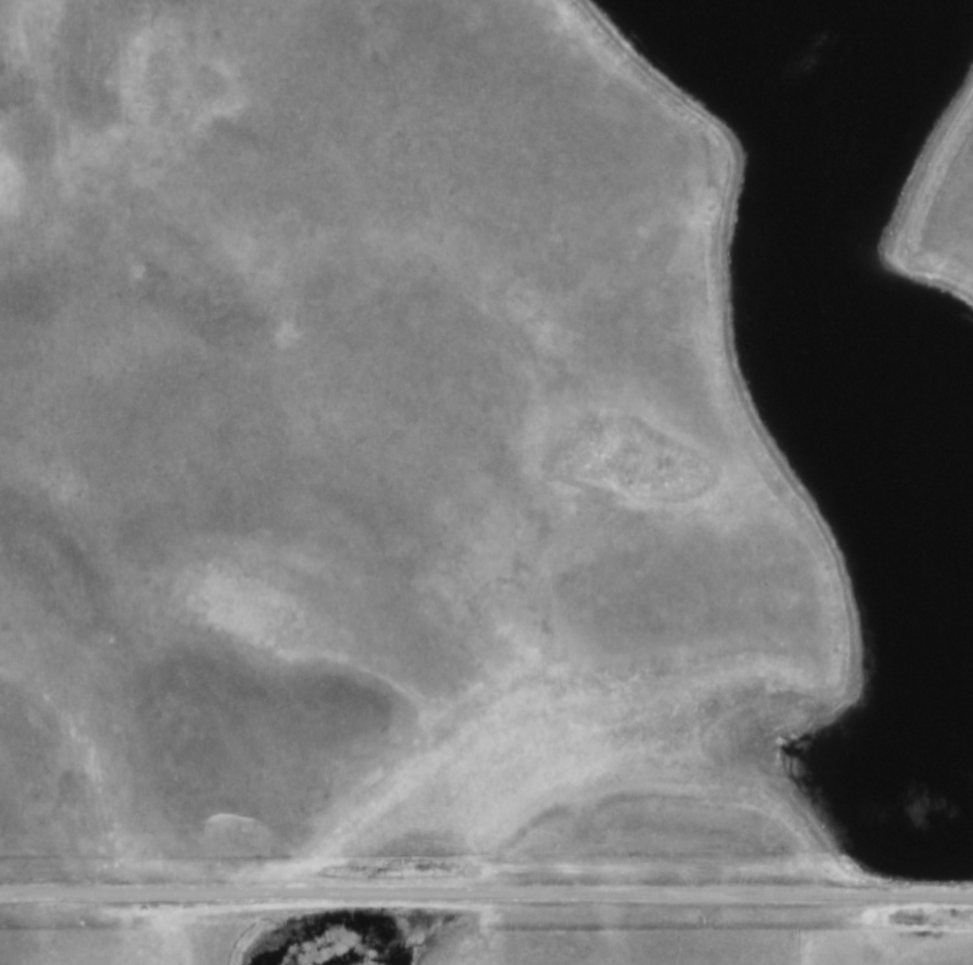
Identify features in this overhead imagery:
road: (486, 892)

